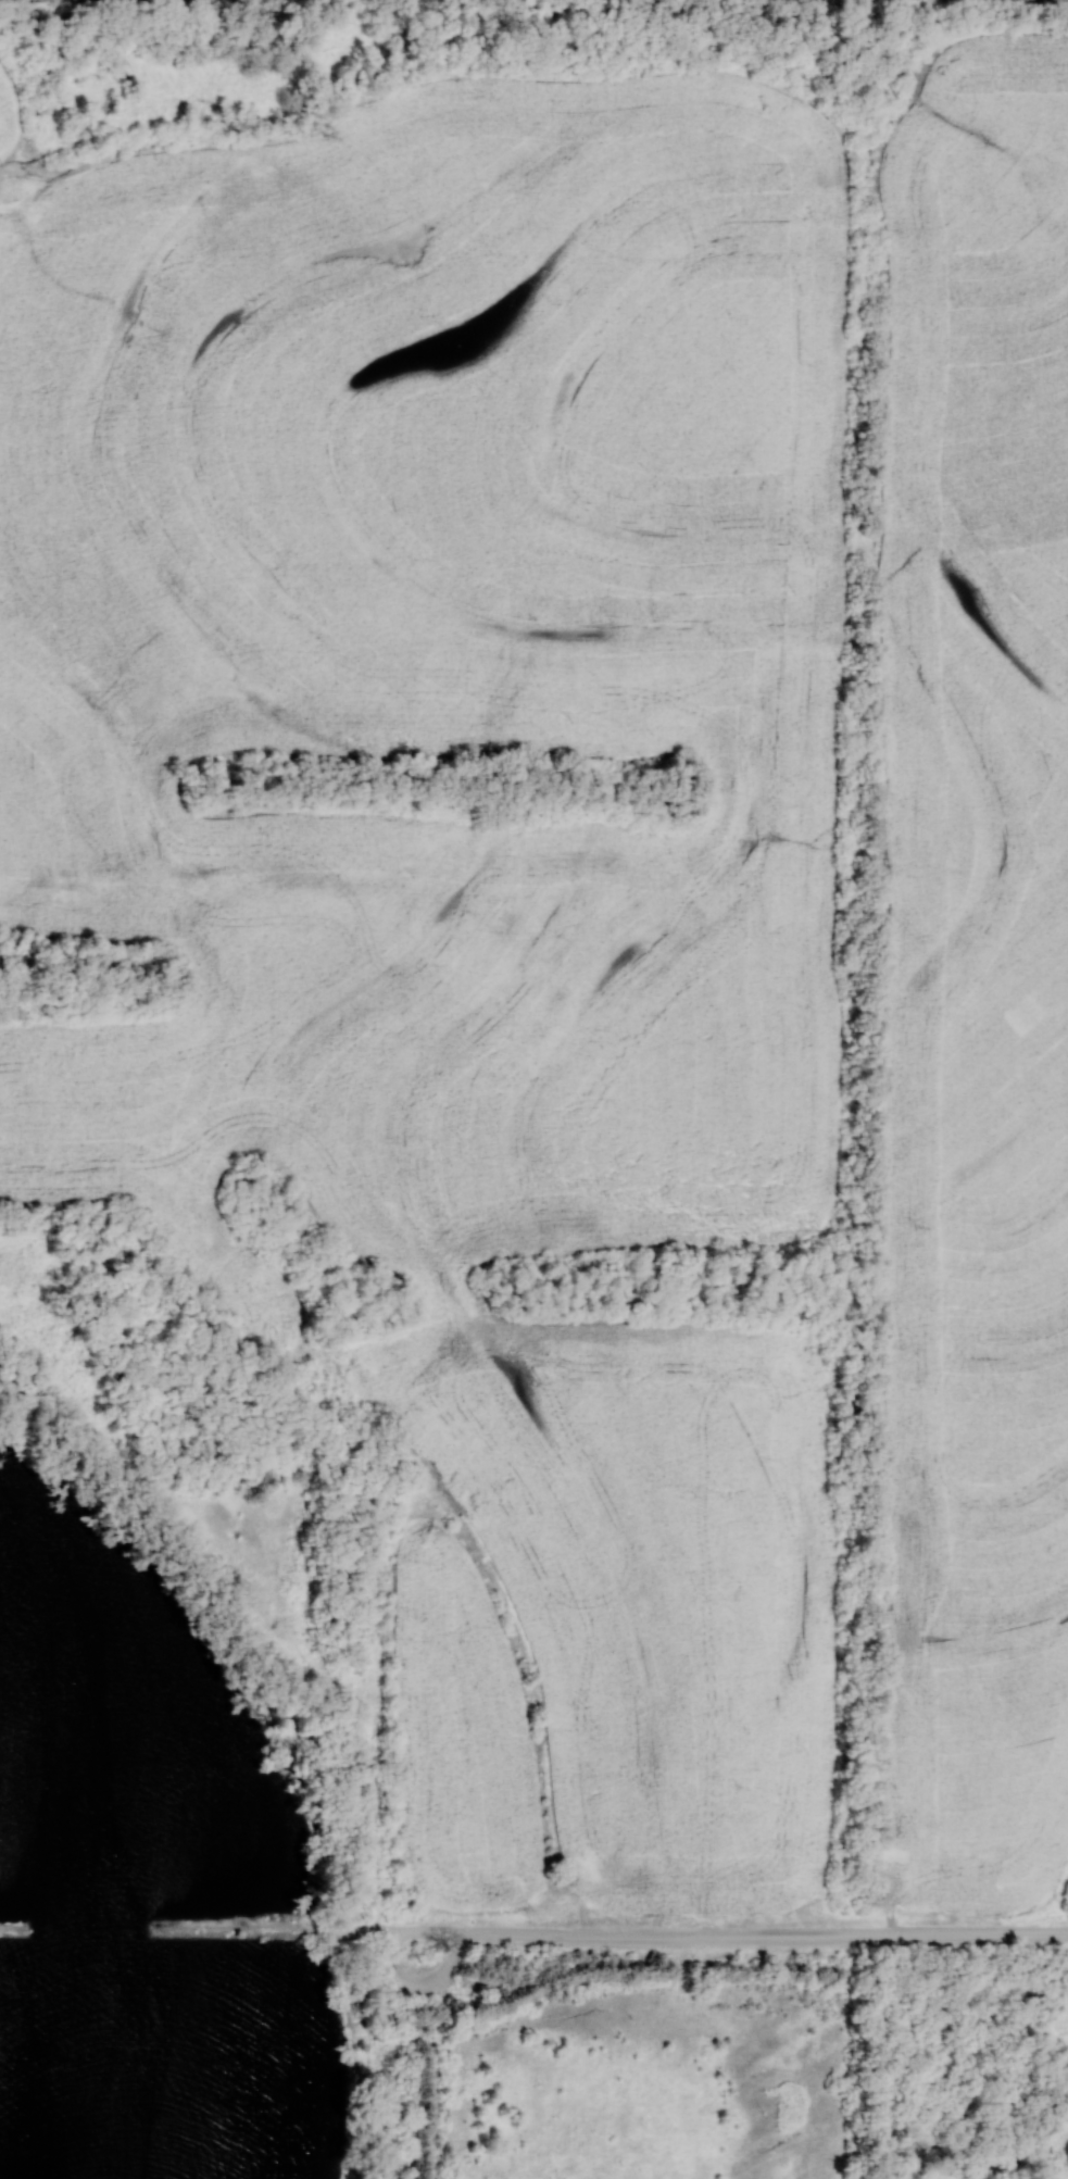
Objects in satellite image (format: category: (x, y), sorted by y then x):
road: (343, 1931)
road: (712, 1938)
road: (418, 1982)
parking lot: (427, 1994)
park: (171, 2041)

